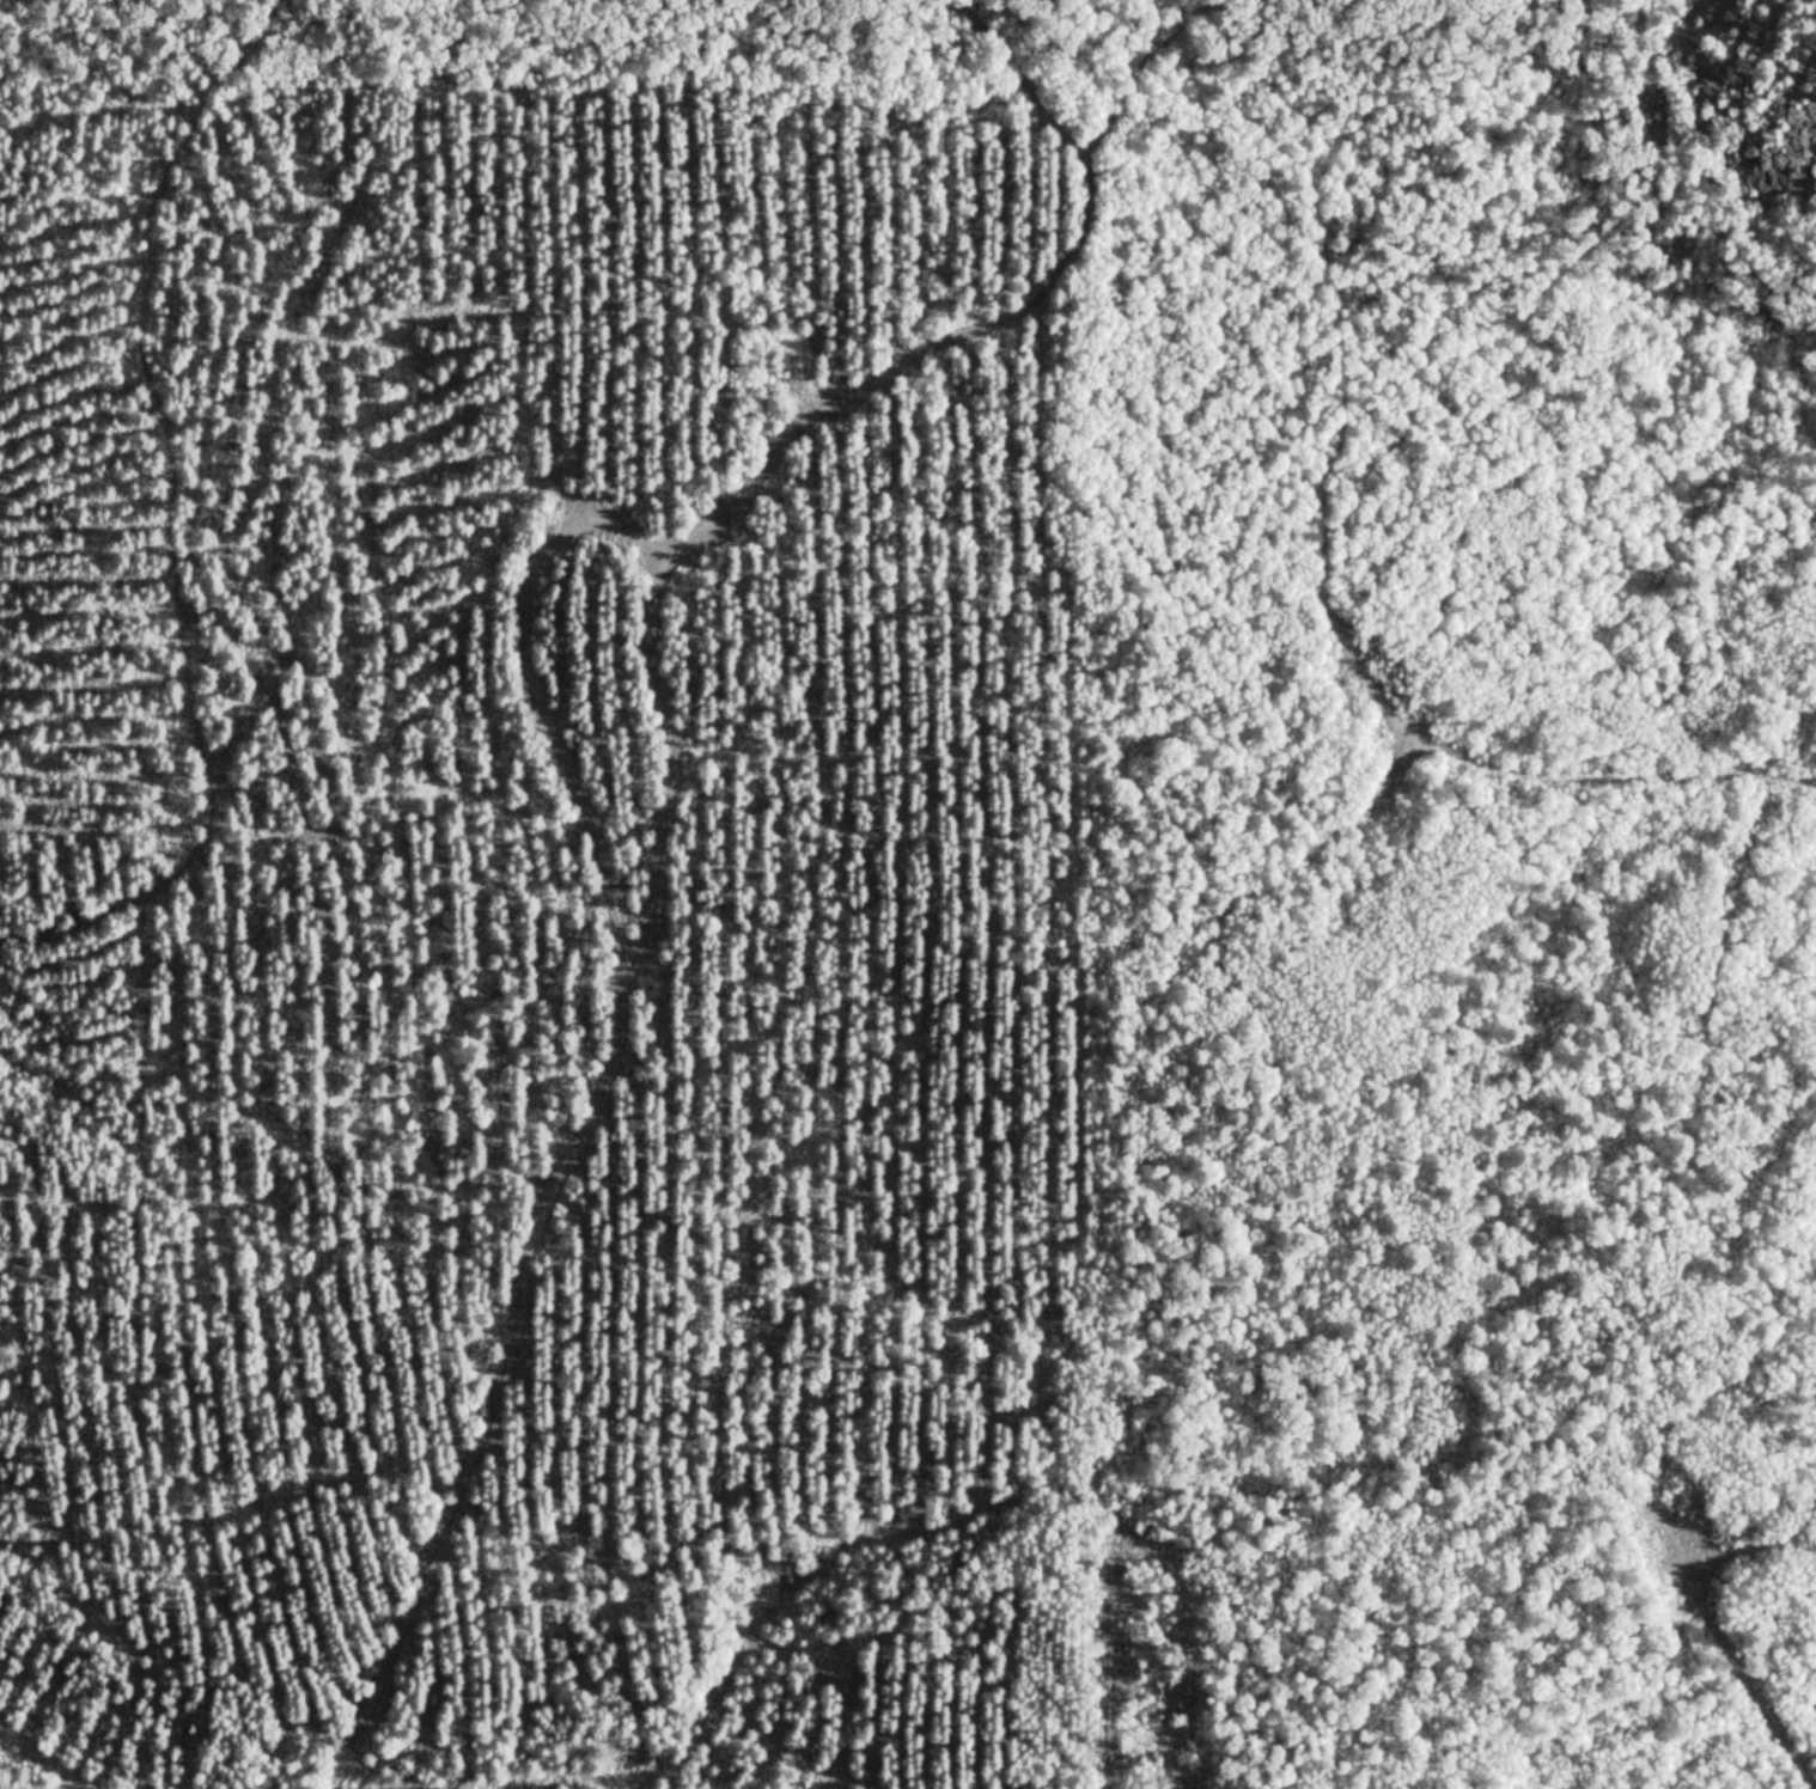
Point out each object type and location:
road: (992, 316)
road: (597, 512)
road: (169, 520)
road: (1323, 566)
road: (494, 1404)
road: (1745, 1680)
road: (42, 1759)

